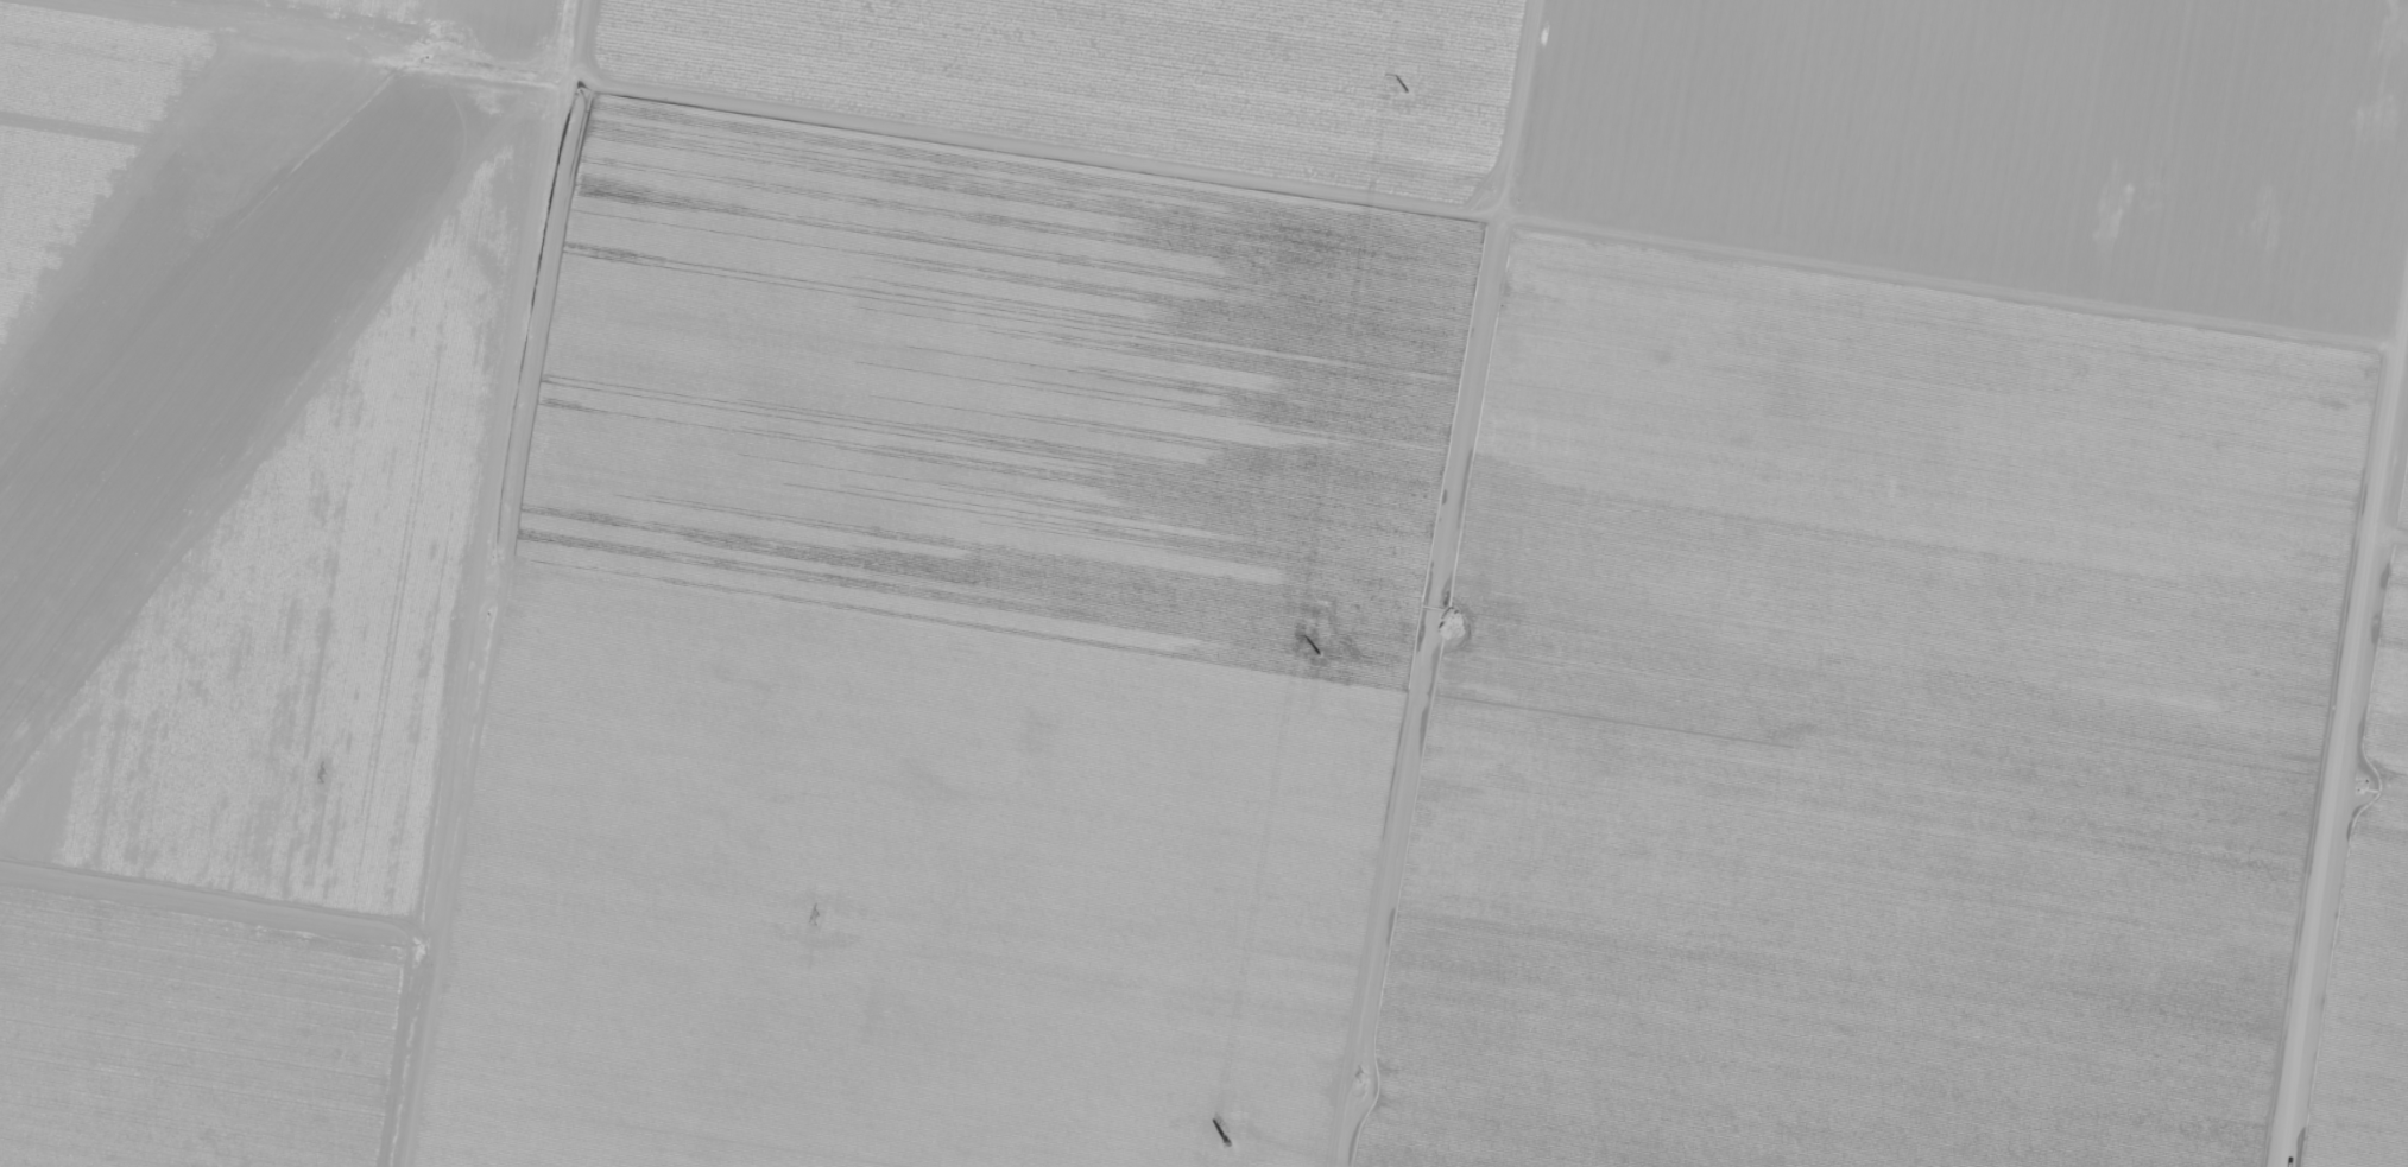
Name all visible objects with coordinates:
power tower: (1408, 90)
road: (777, 94)
power tower: (1320, 655)
power tower: (324, 779)
road: (2355, 826)
power tower: (817, 920)
power tower: (1361, 1077)
power tower: (1230, 1146)

